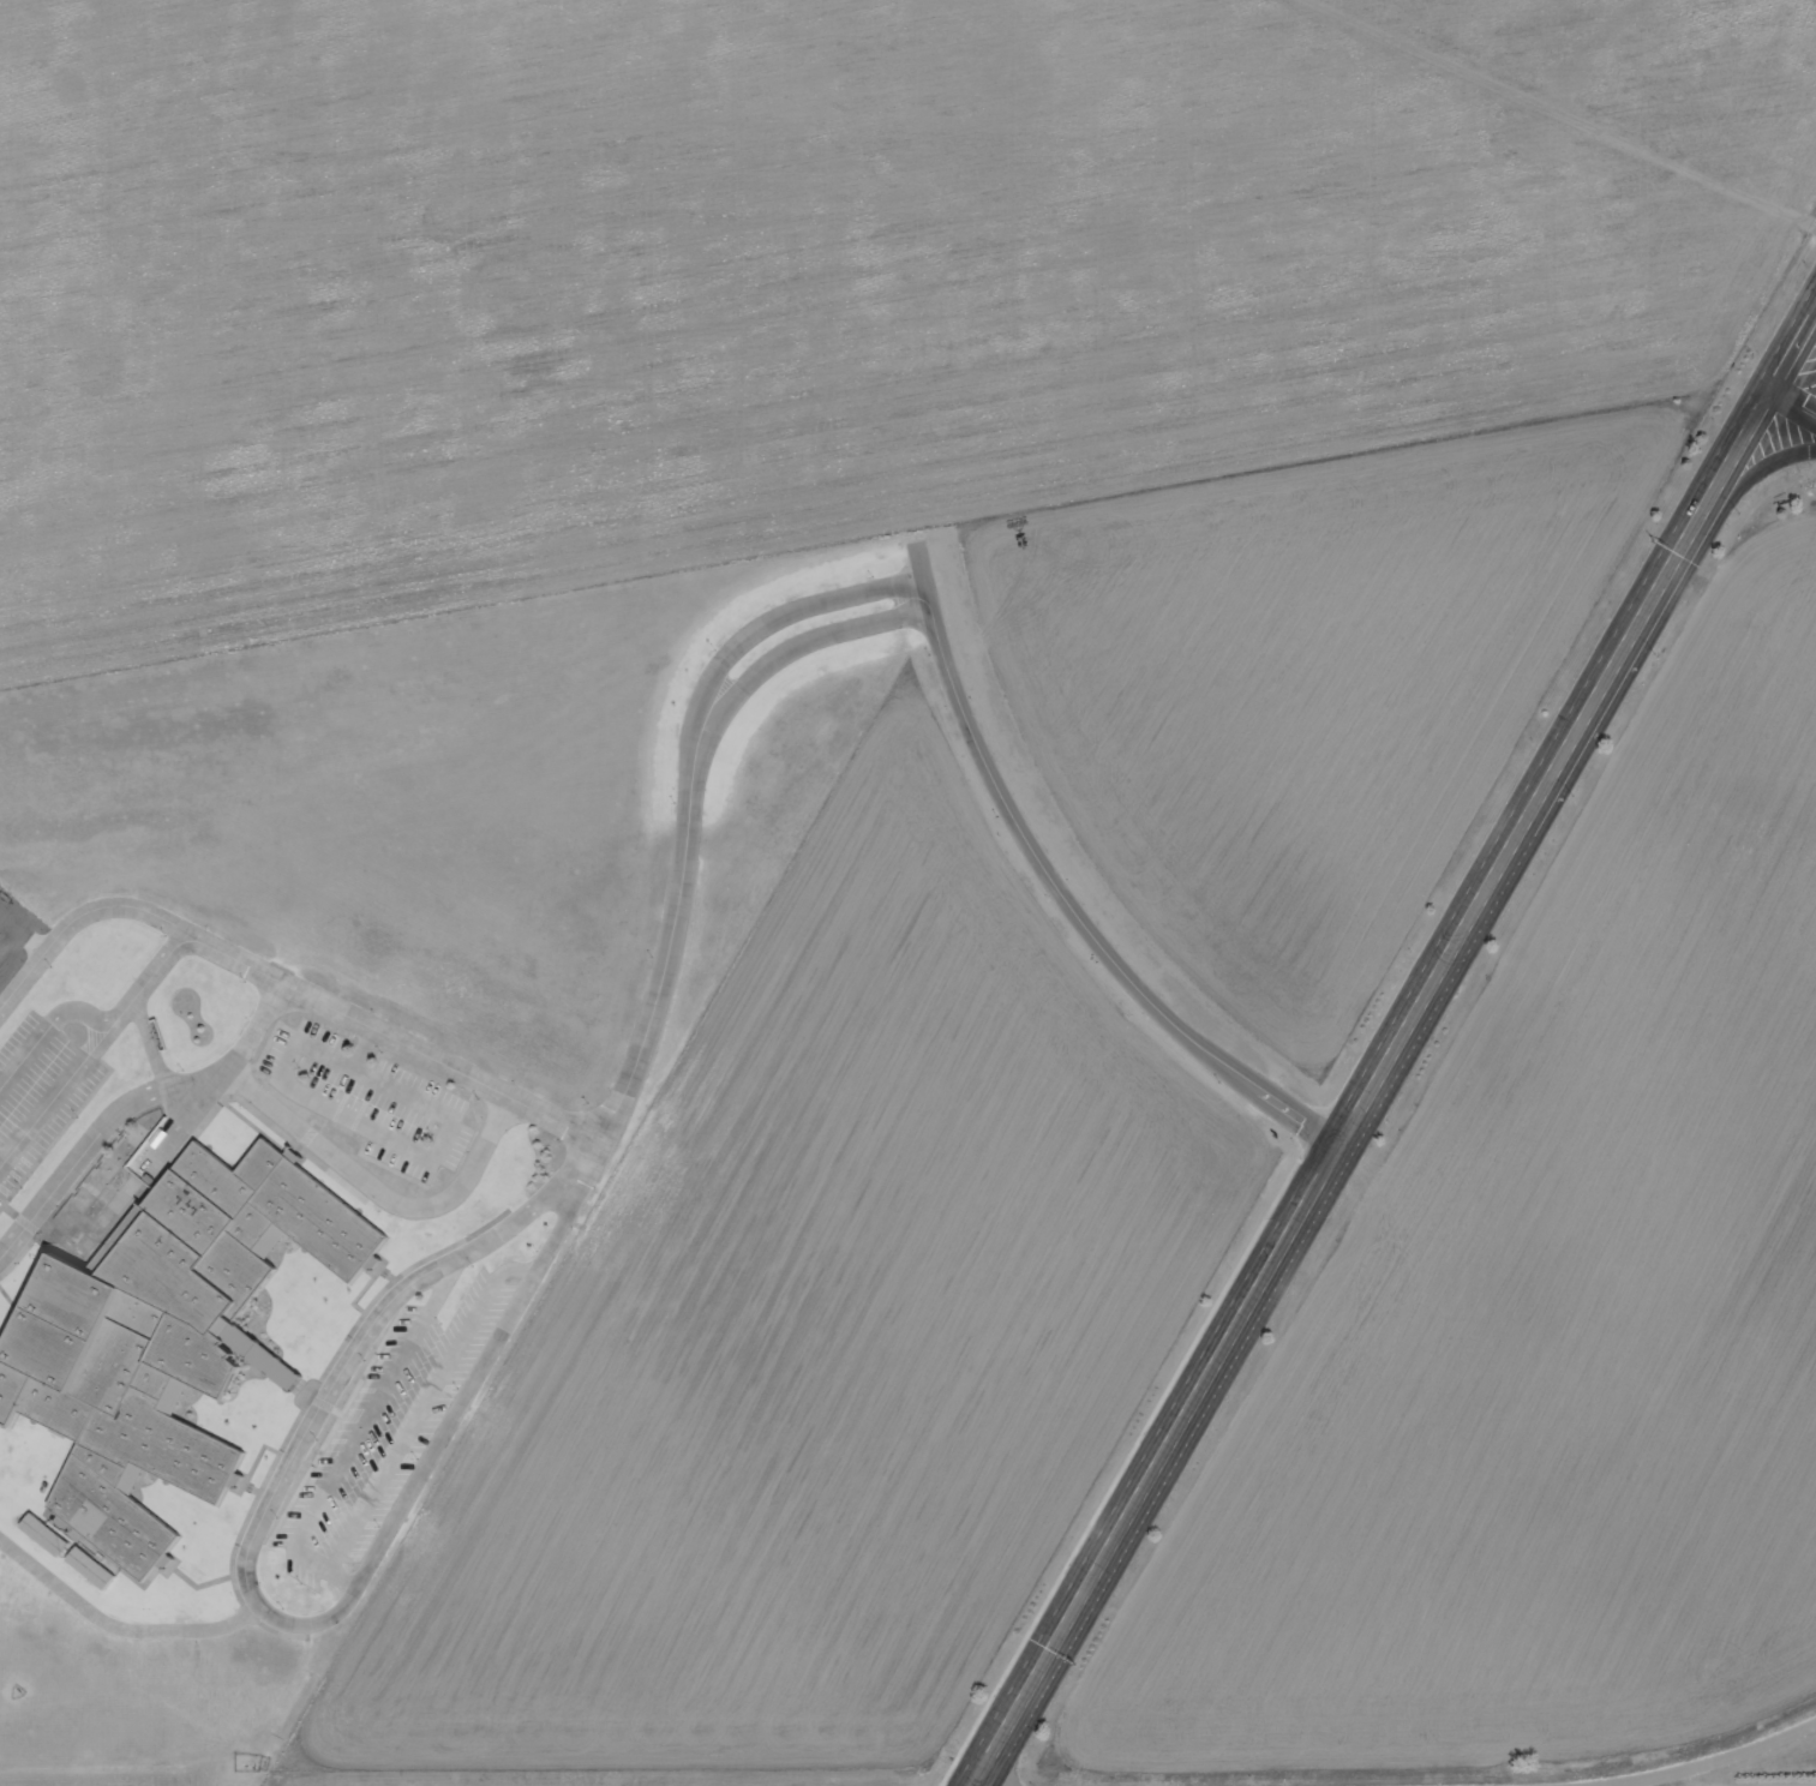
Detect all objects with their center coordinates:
road: (1794, 348)
road: (1794, 398)
road: (1760, 468)
road: (762, 647)
road: (780, 665)
road: (133, 910)
road: (1073, 913)
road: (1373, 1086)
parking lot: (38, 1090)
road: (132, 1101)
road: (603, 1125)
building: (155, 1337)
parking lot: (373, 1419)
road: (277, 1624)
road: (119, 1629)
road: (1701, 1763)

